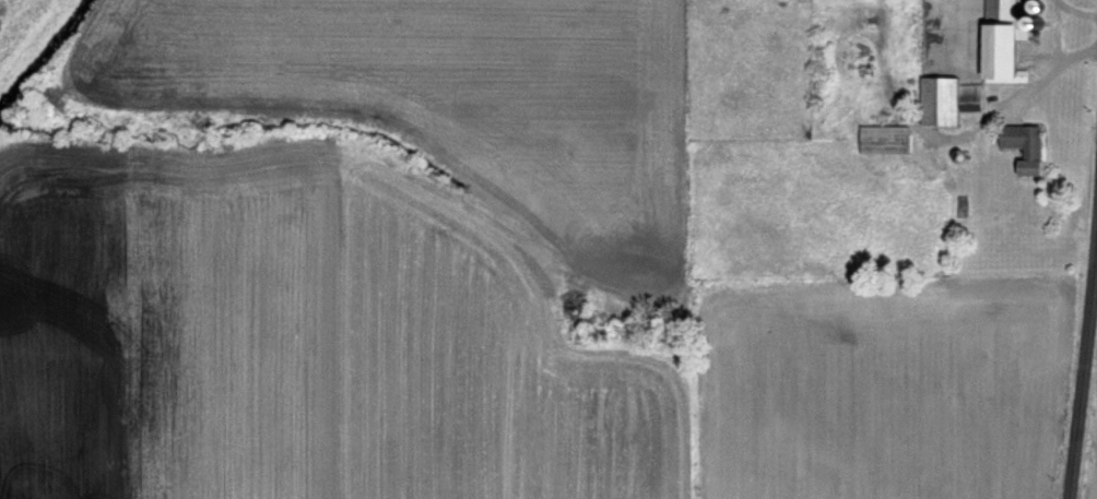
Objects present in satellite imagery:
building: (1000, 40)
road: (1043, 79)
building: (945, 99)
building: (882, 139)
building: (1022, 146)
road: (1084, 309)

